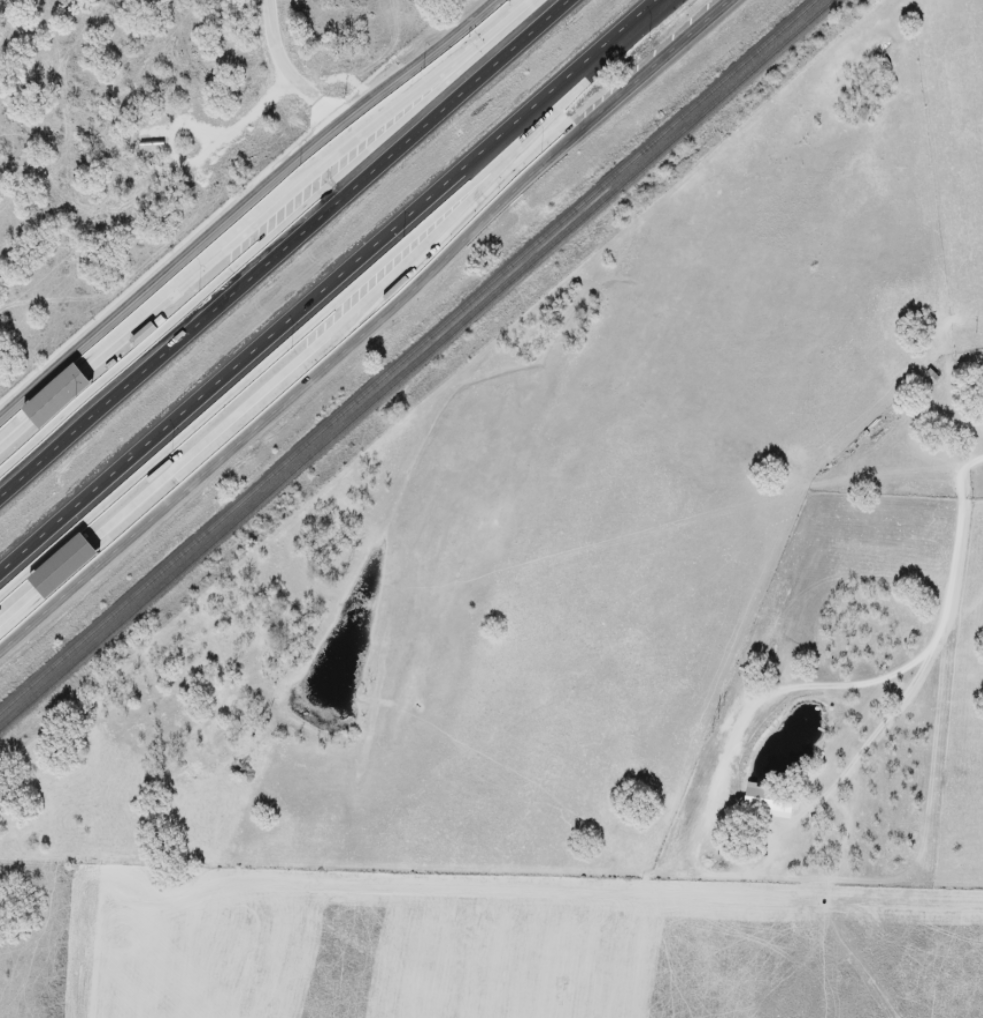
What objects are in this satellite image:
road: (297, 63)
road: (244, 203)
road: (284, 248)
road: (327, 286)
road: (367, 331)
building: (143, 334)
railway: (407, 355)
railway: (416, 364)
building: (56, 396)
building: (60, 566)
road: (930, 646)

